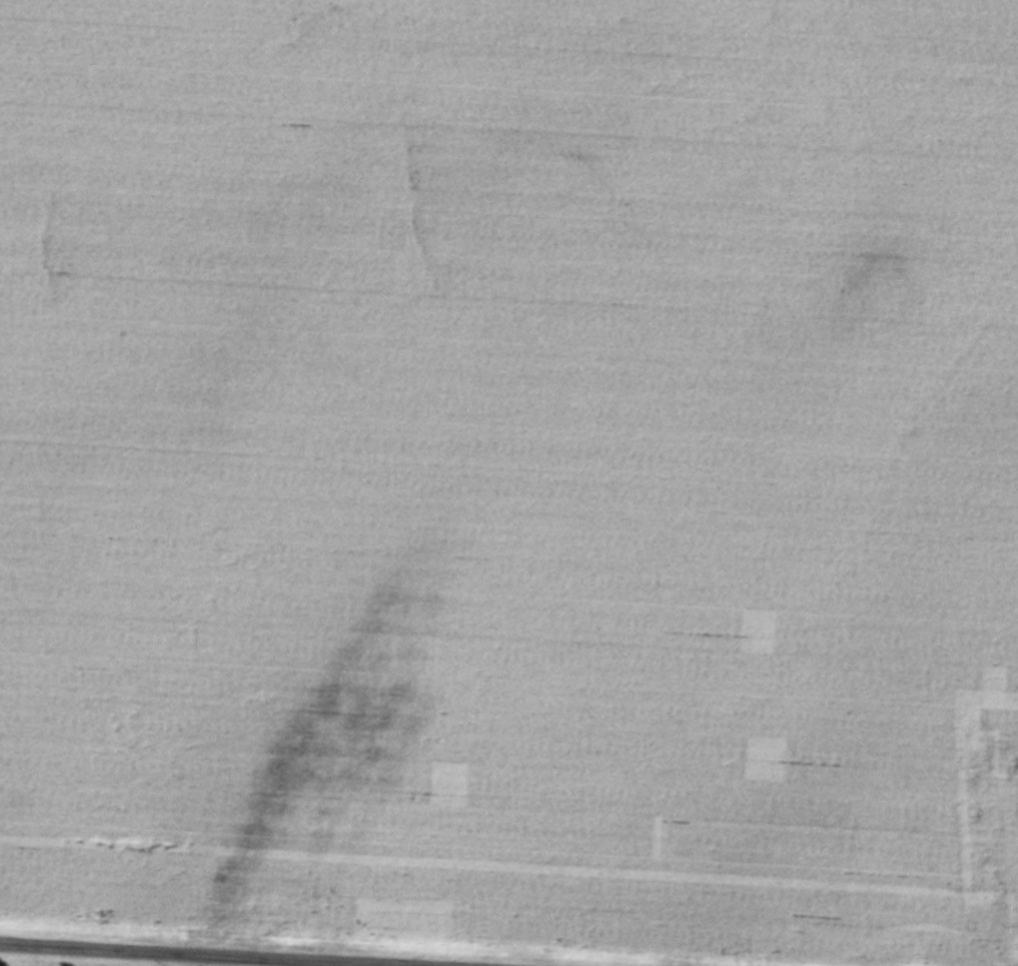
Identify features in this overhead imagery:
road: (194, 956)

